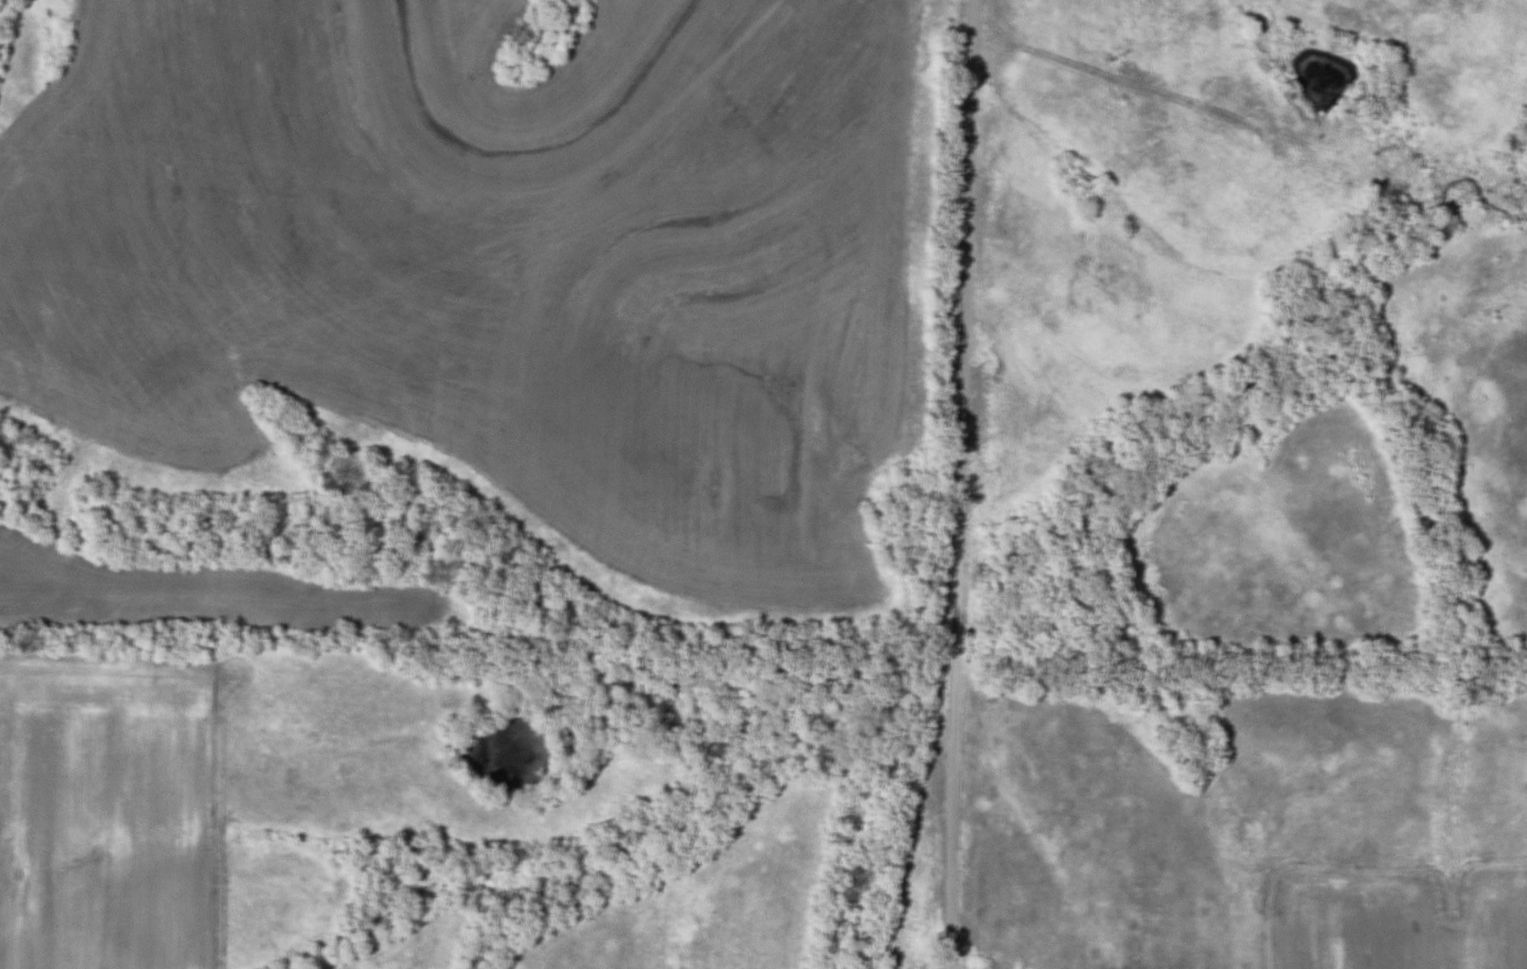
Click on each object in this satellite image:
road: (960, 484)
crop: (105, 808)
crop: (1385, 929)

